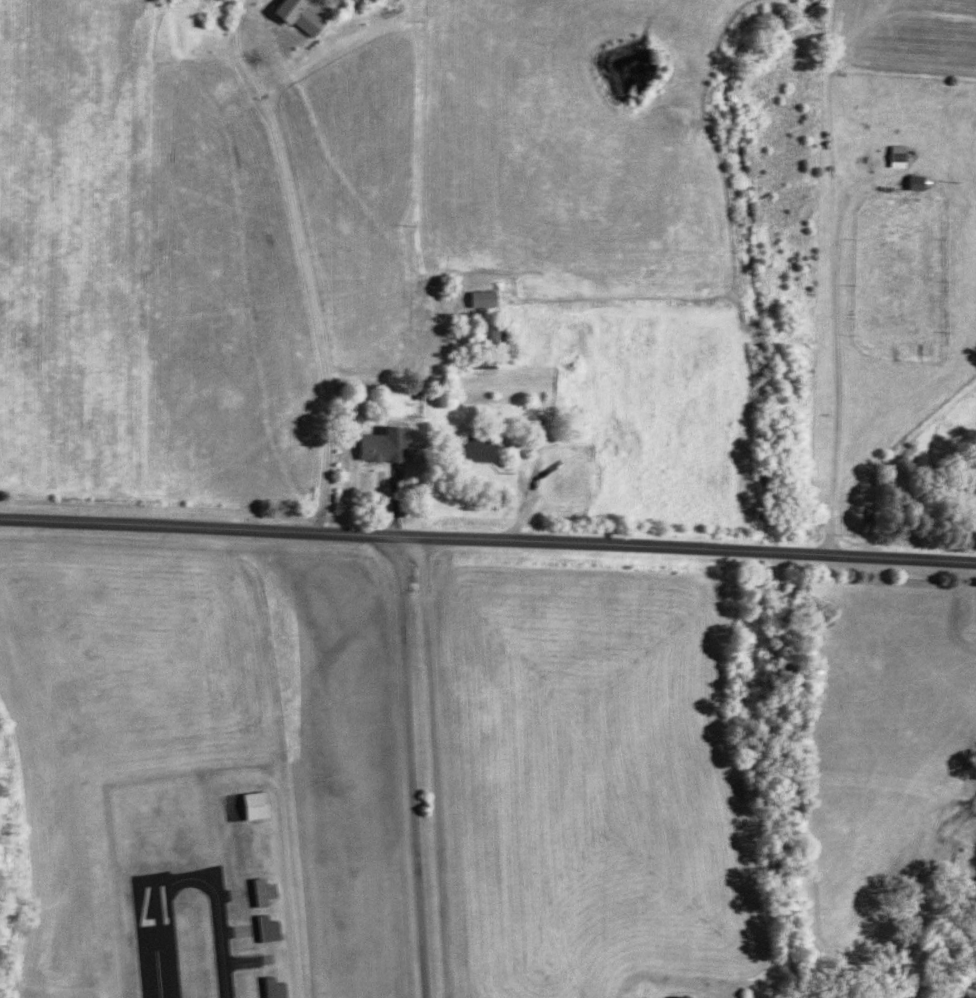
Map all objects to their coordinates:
building: (296, 13)
building: (901, 155)
building: (918, 182)
road: (305, 258)
building: (482, 295)
building: (492, 327)
building: (481, 356)
building: (378, 443)
building: (475, 446)
road: (488, 536)
road: (430, 766)
building: (253, 803)
building: (261, 889)
airport taxiway: (219, 903)
building: (266, 927)
airport runway: (150, 939)
building: (272, 987)
building: (683, 996)

